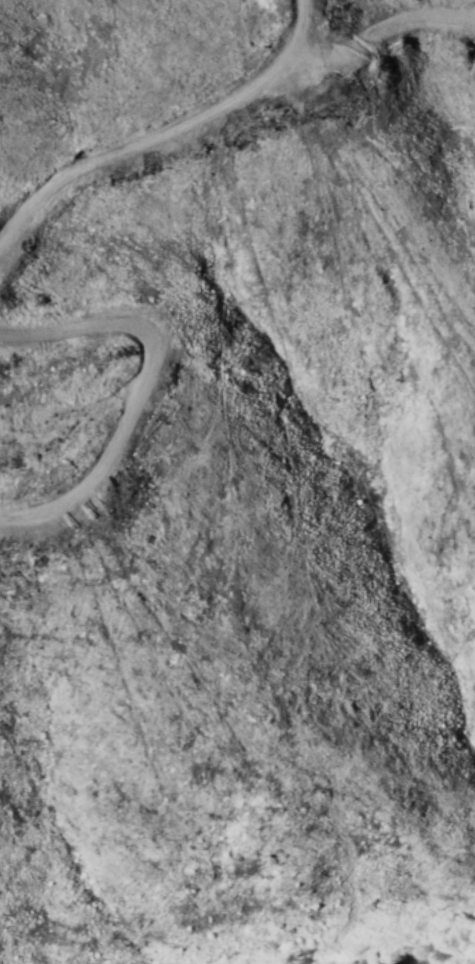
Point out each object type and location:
road: (345, 900)

